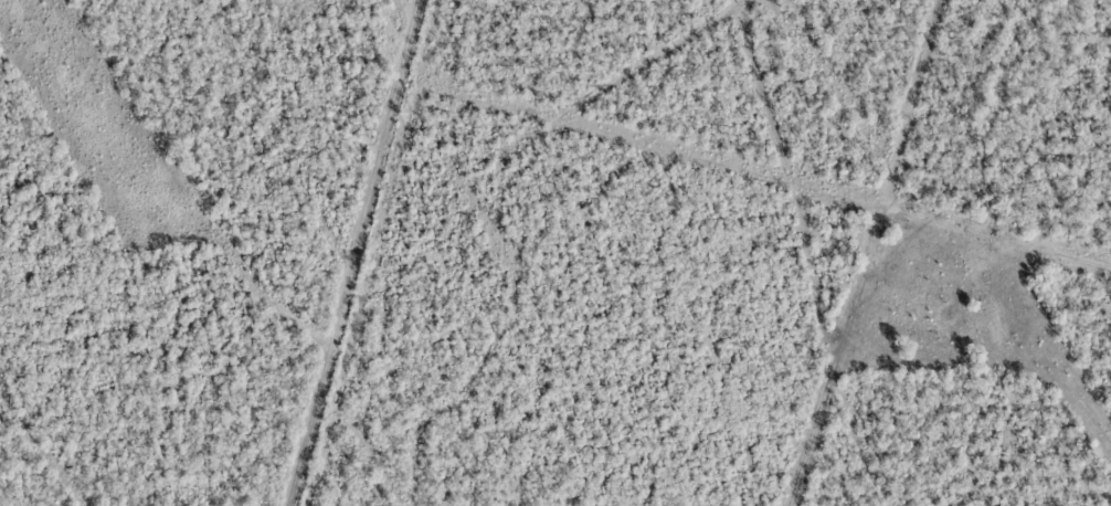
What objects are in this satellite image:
road: (876, 252)

